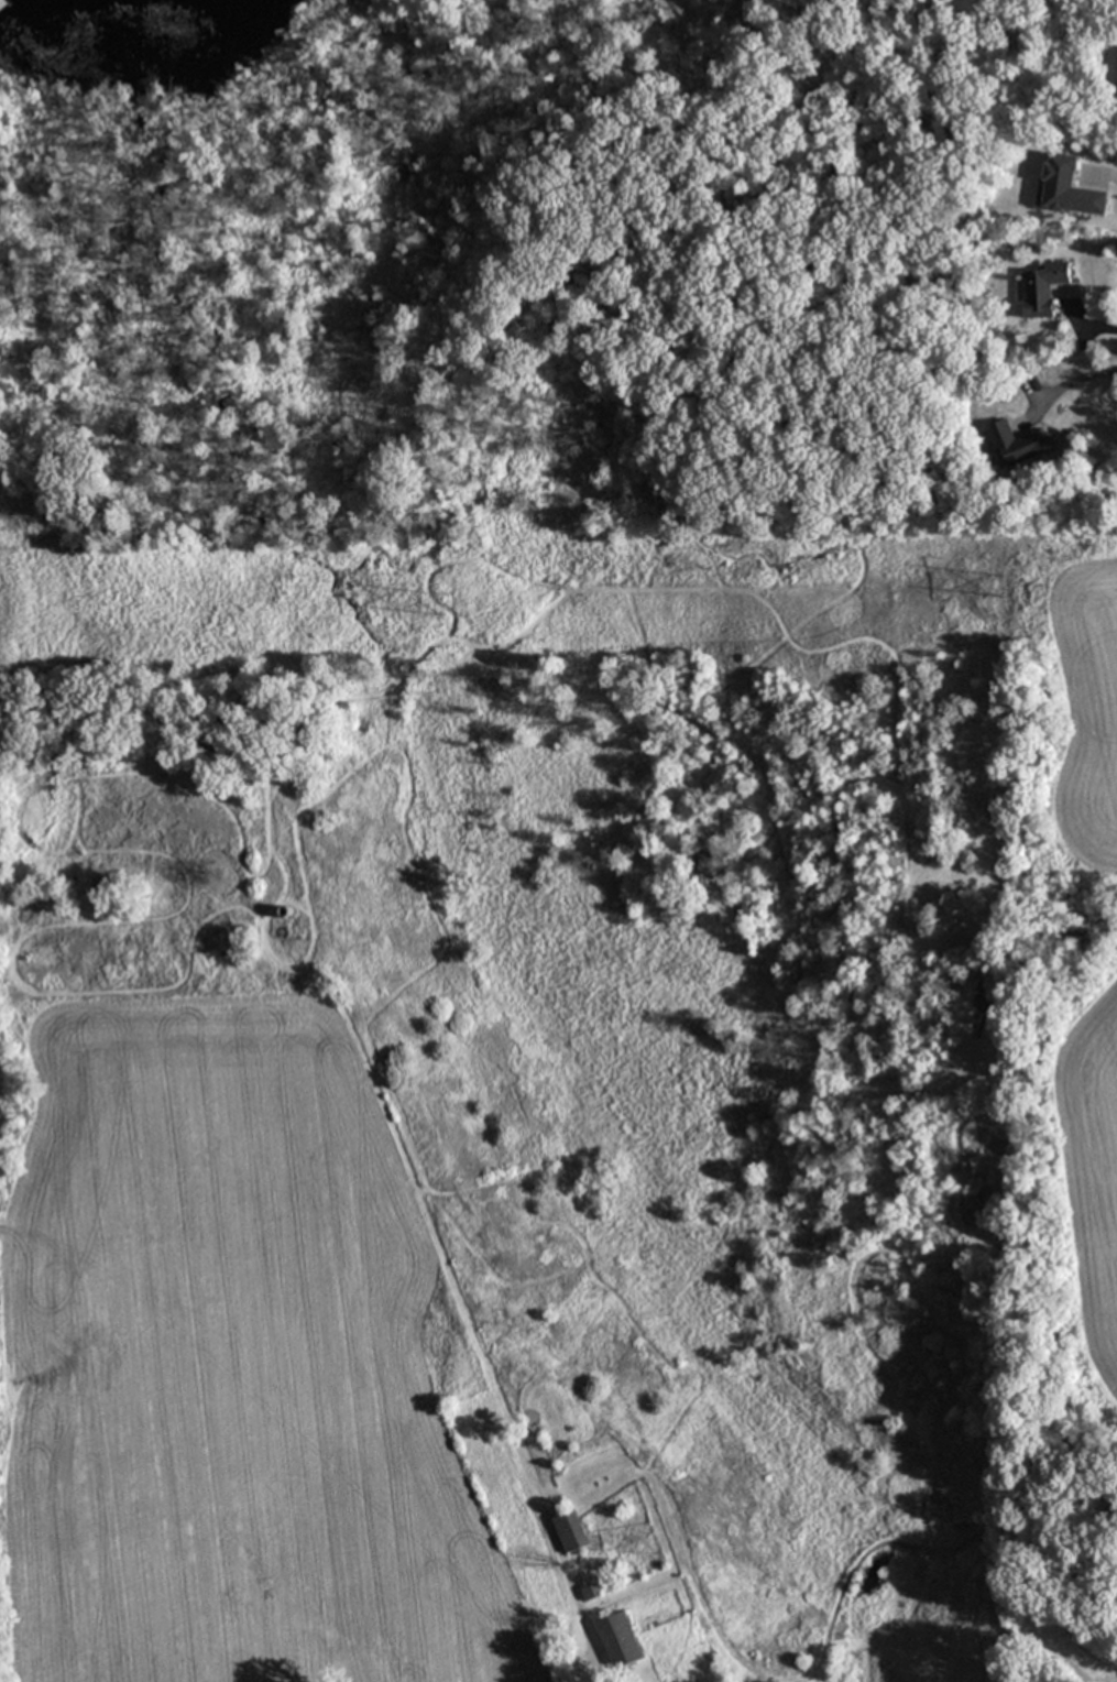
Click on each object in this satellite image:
building: (1067, 187)
building: (1043, 287)
road: (1064, 380)
building: (1017, 444)
power tower: (1016, 589)
power tower: (449, 605)
building: (570, 1530)
building: (620, 1639)

